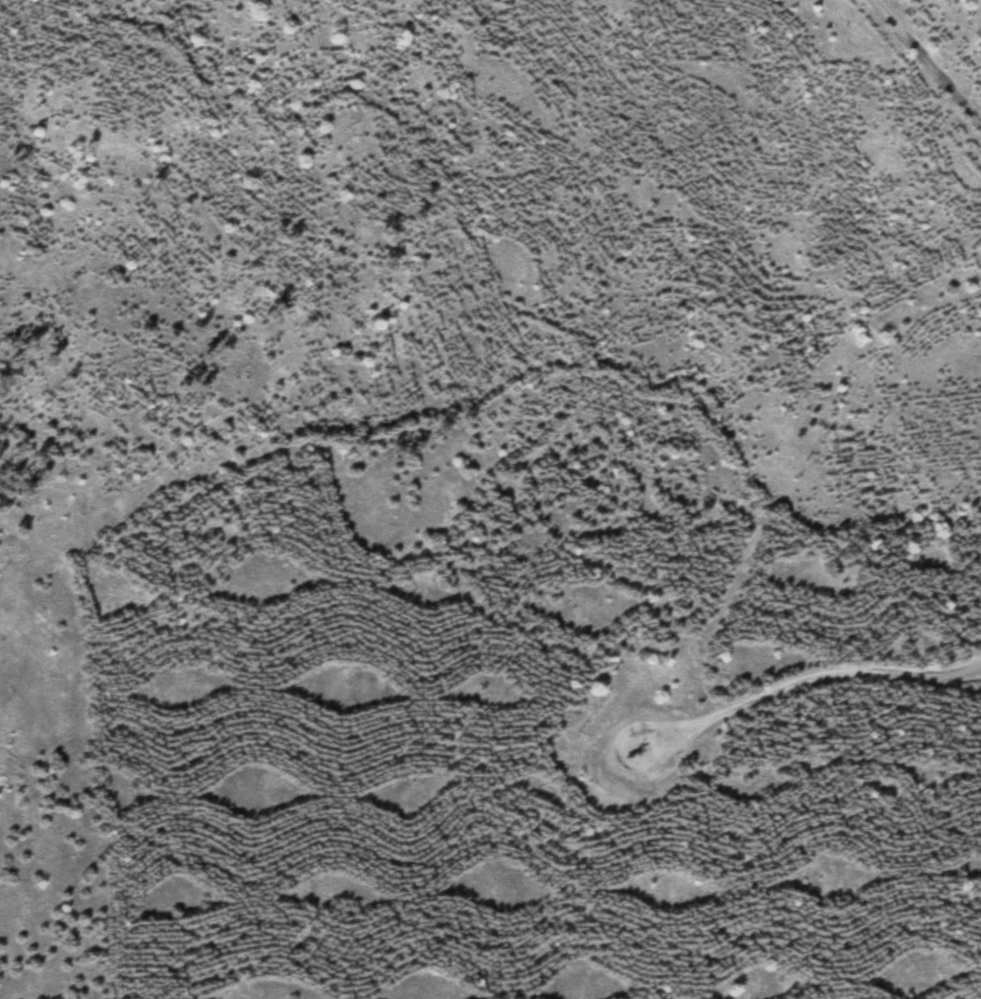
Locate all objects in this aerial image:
road: (930, 59)
road: (819, 684)
petroleum well: (643, 752)

